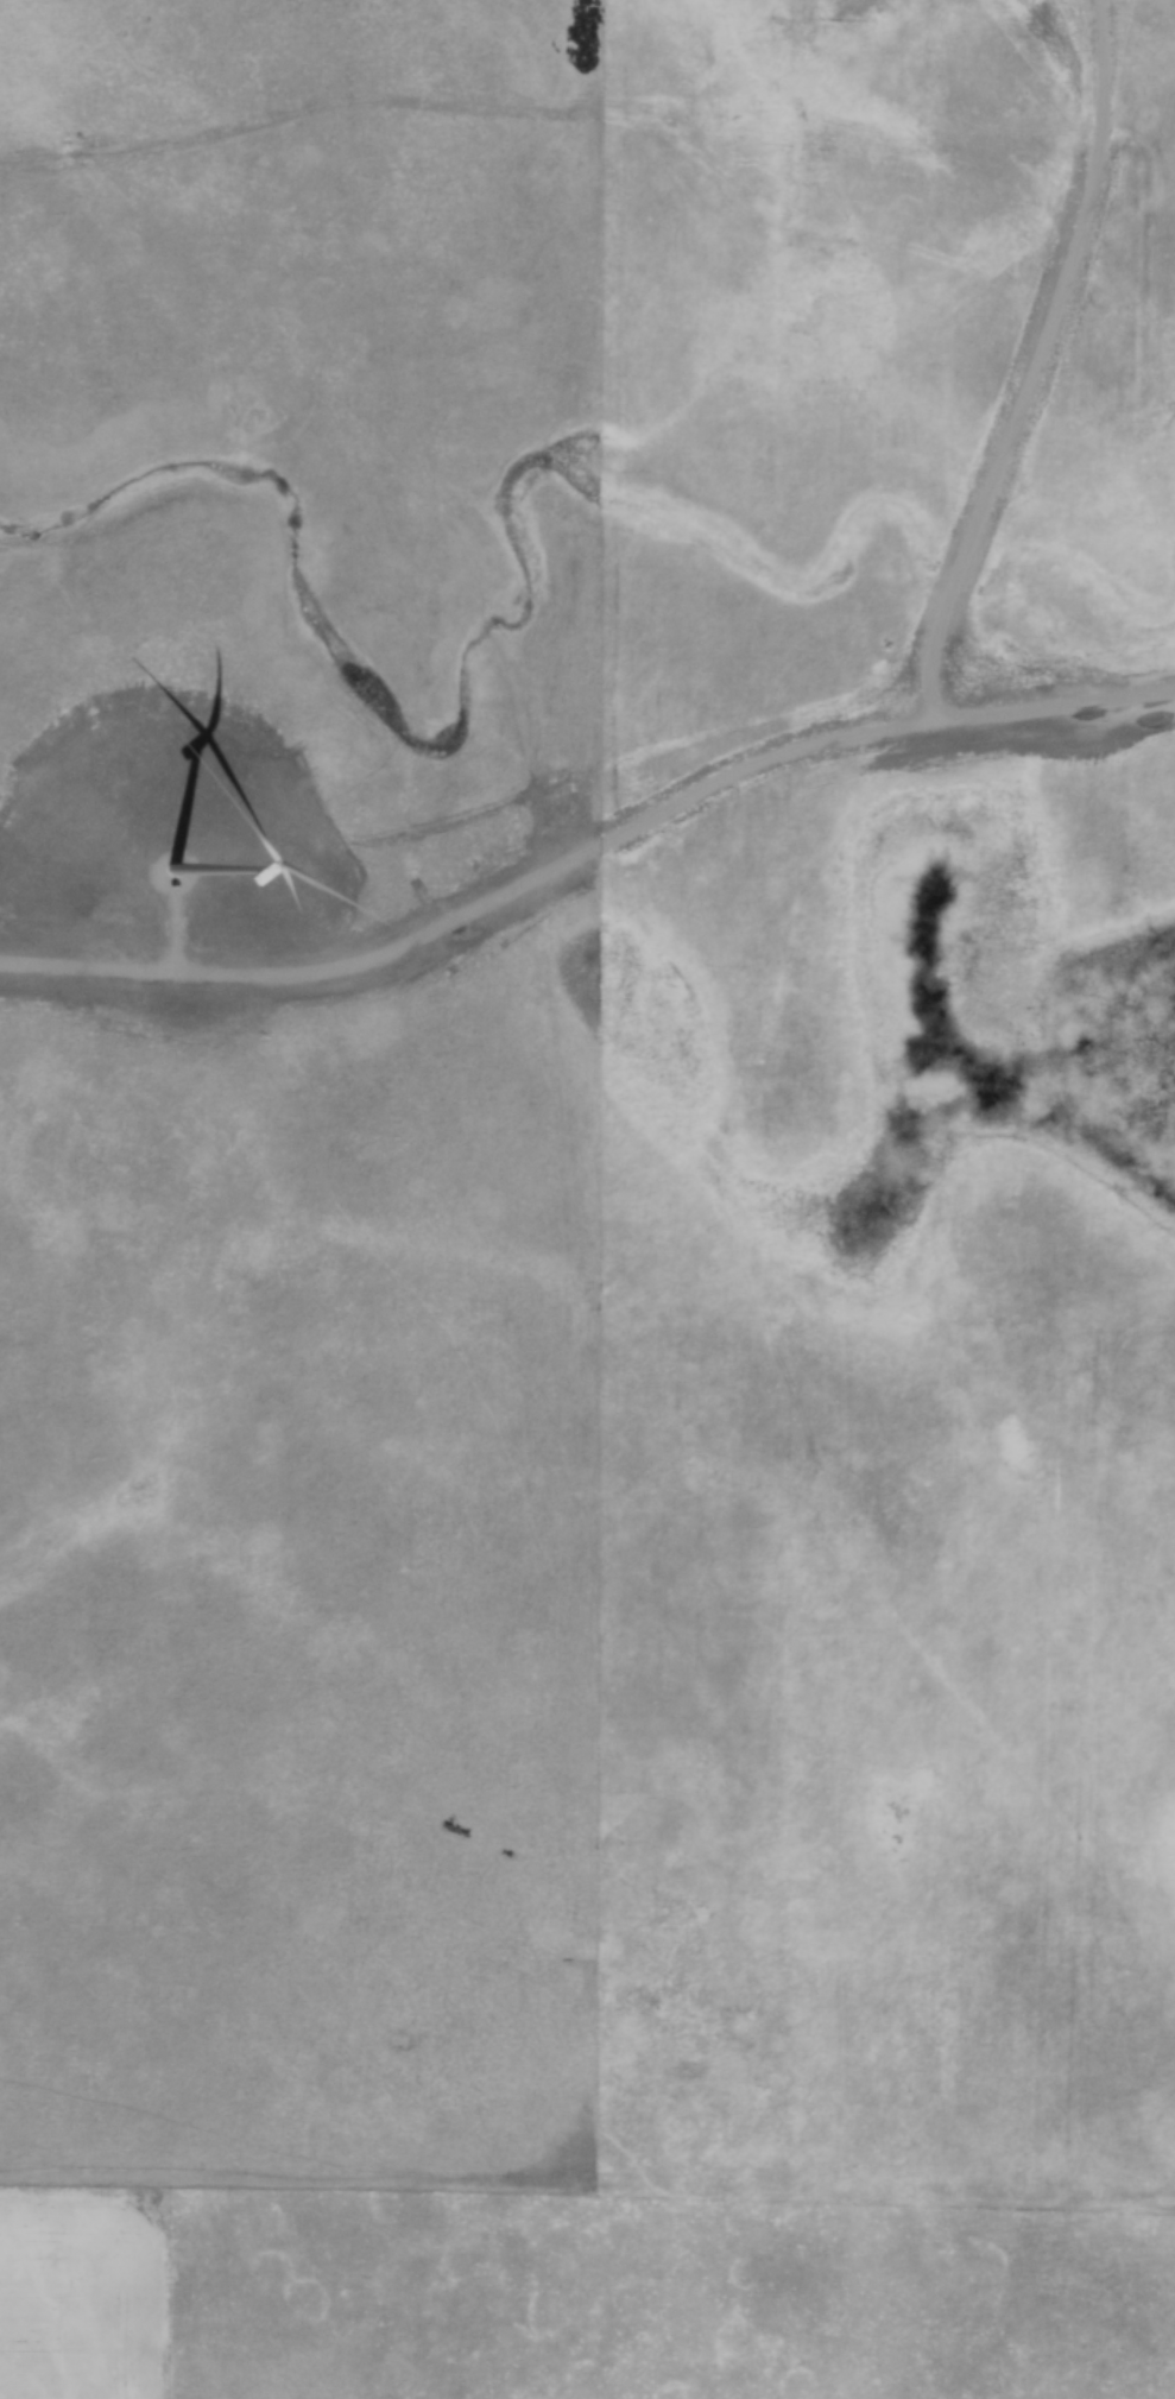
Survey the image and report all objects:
wind turbine: (172, 866)

